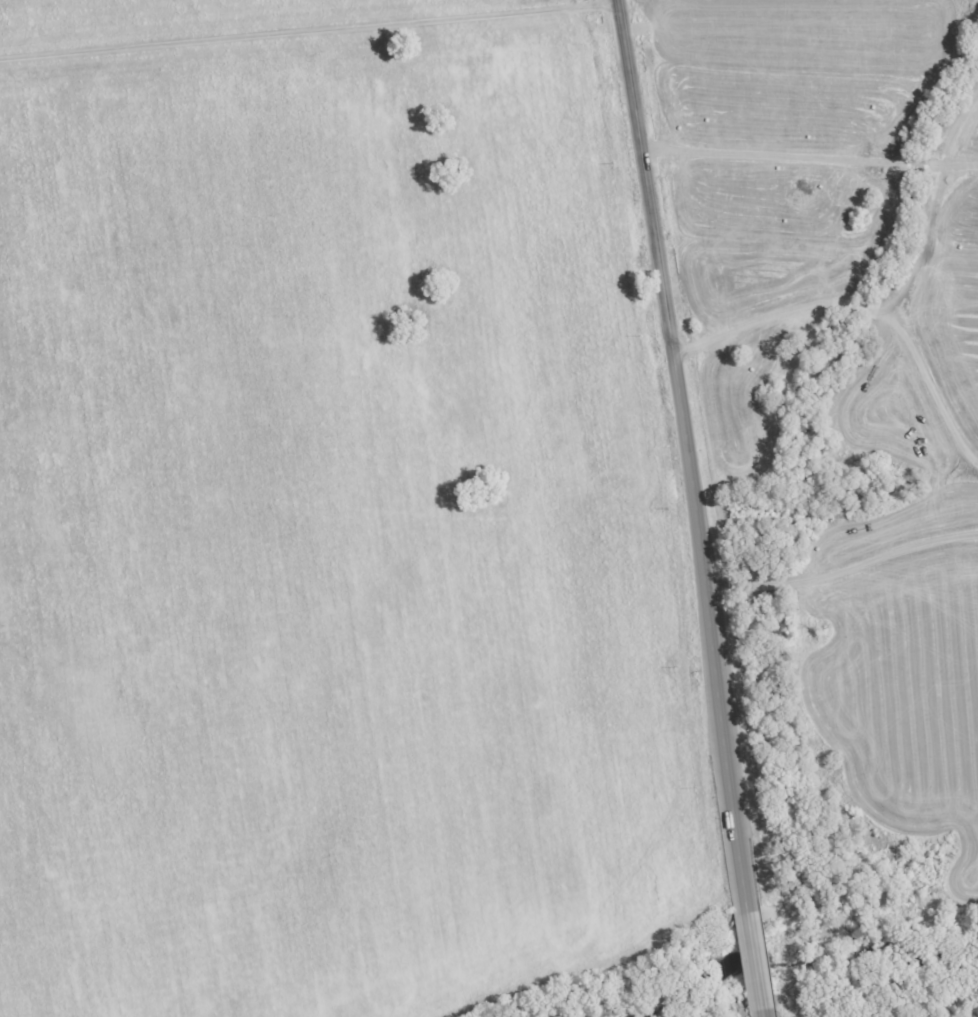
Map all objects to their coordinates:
road: (699, 508)
road: (883, 863)

